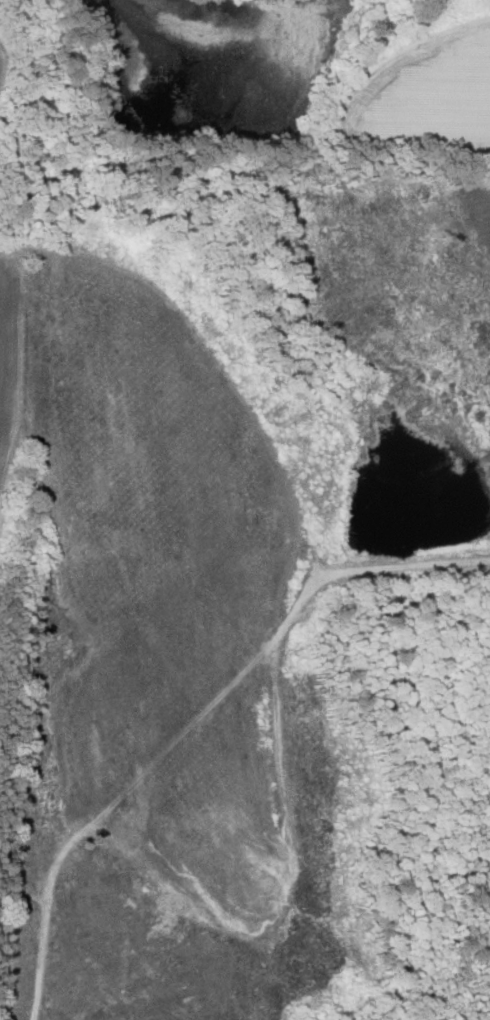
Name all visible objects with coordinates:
crop: (426, 95)

